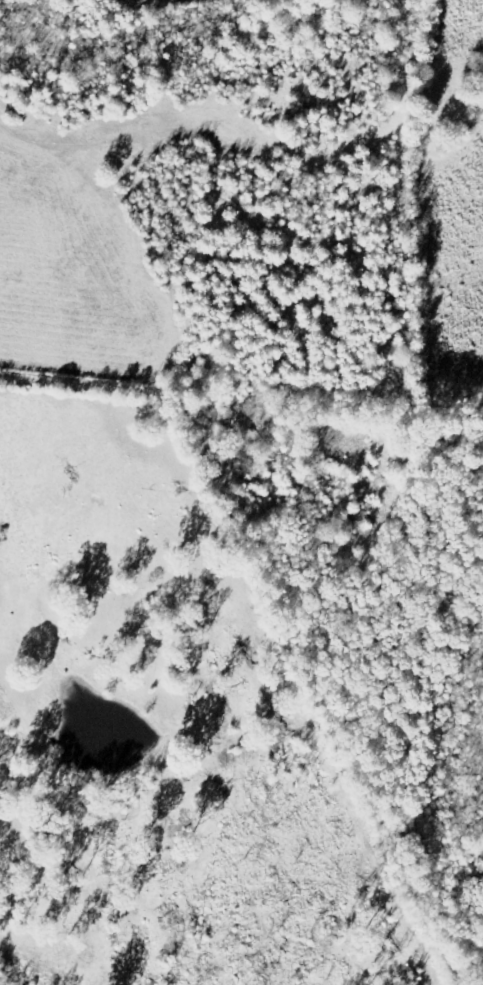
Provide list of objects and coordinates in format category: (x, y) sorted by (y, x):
road: (128, 416)

